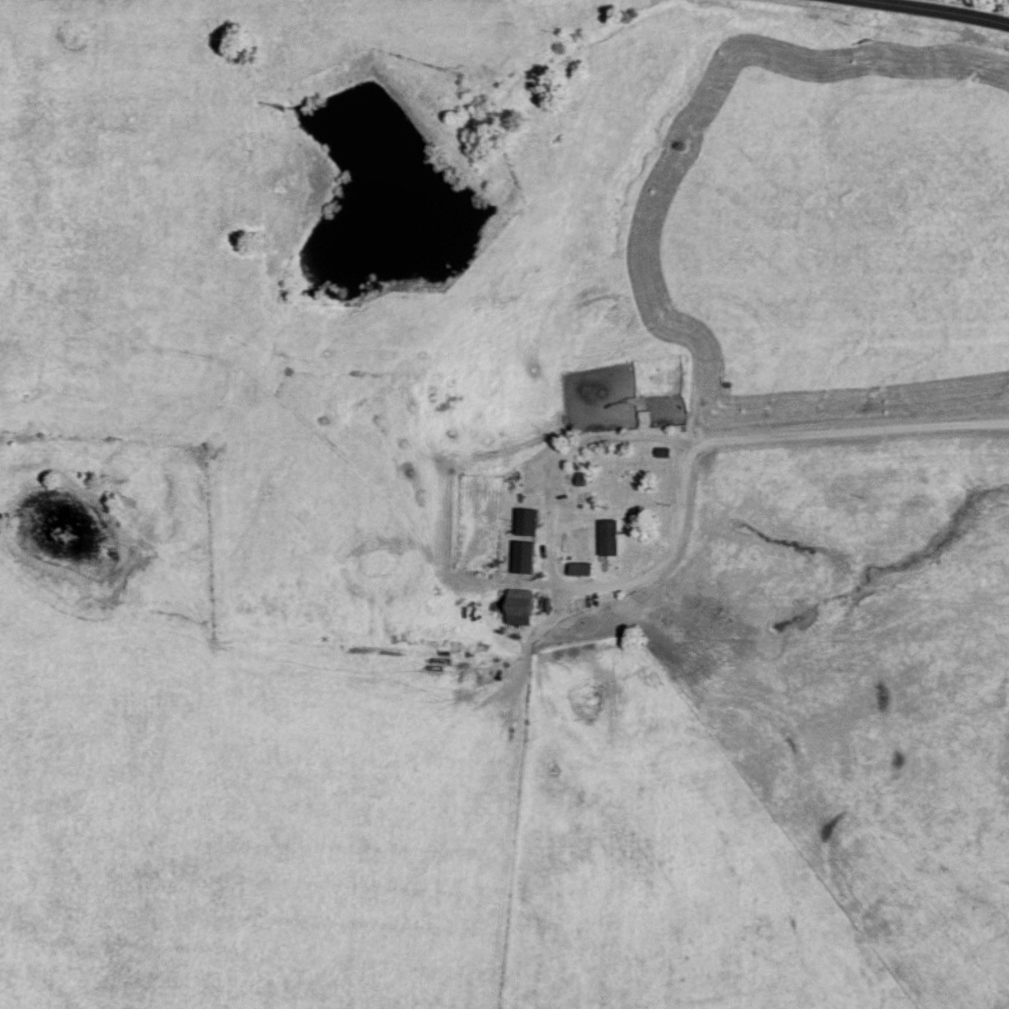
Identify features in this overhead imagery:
road: (924, 12)
road: (854, 431)
building: (526, 523)
building: (609, 538)
road: (558, 552)
building: (524, 558)
building: (580, 570)
building: (519, 607)

